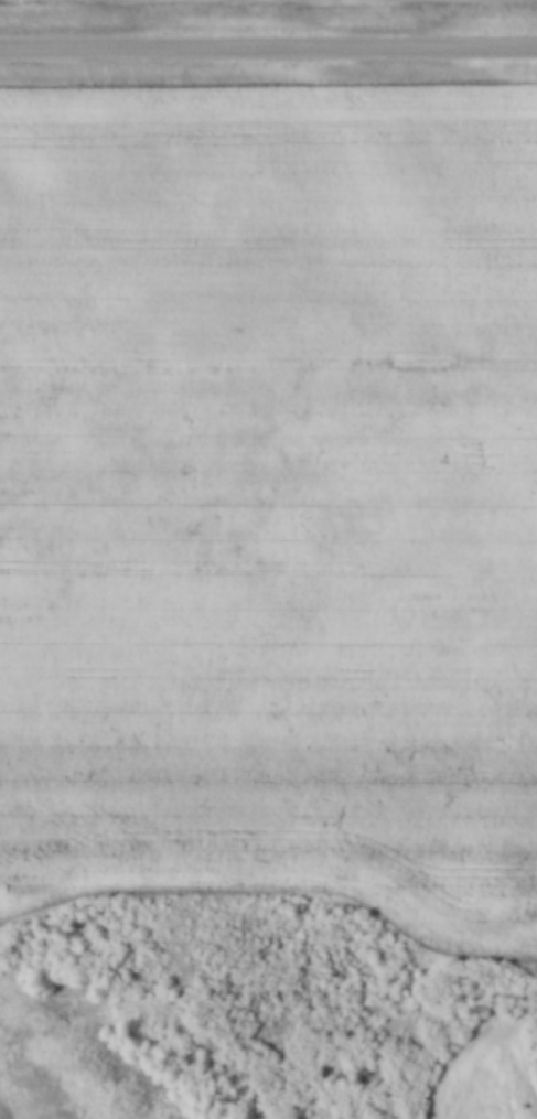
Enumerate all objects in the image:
road: (268, 46)

